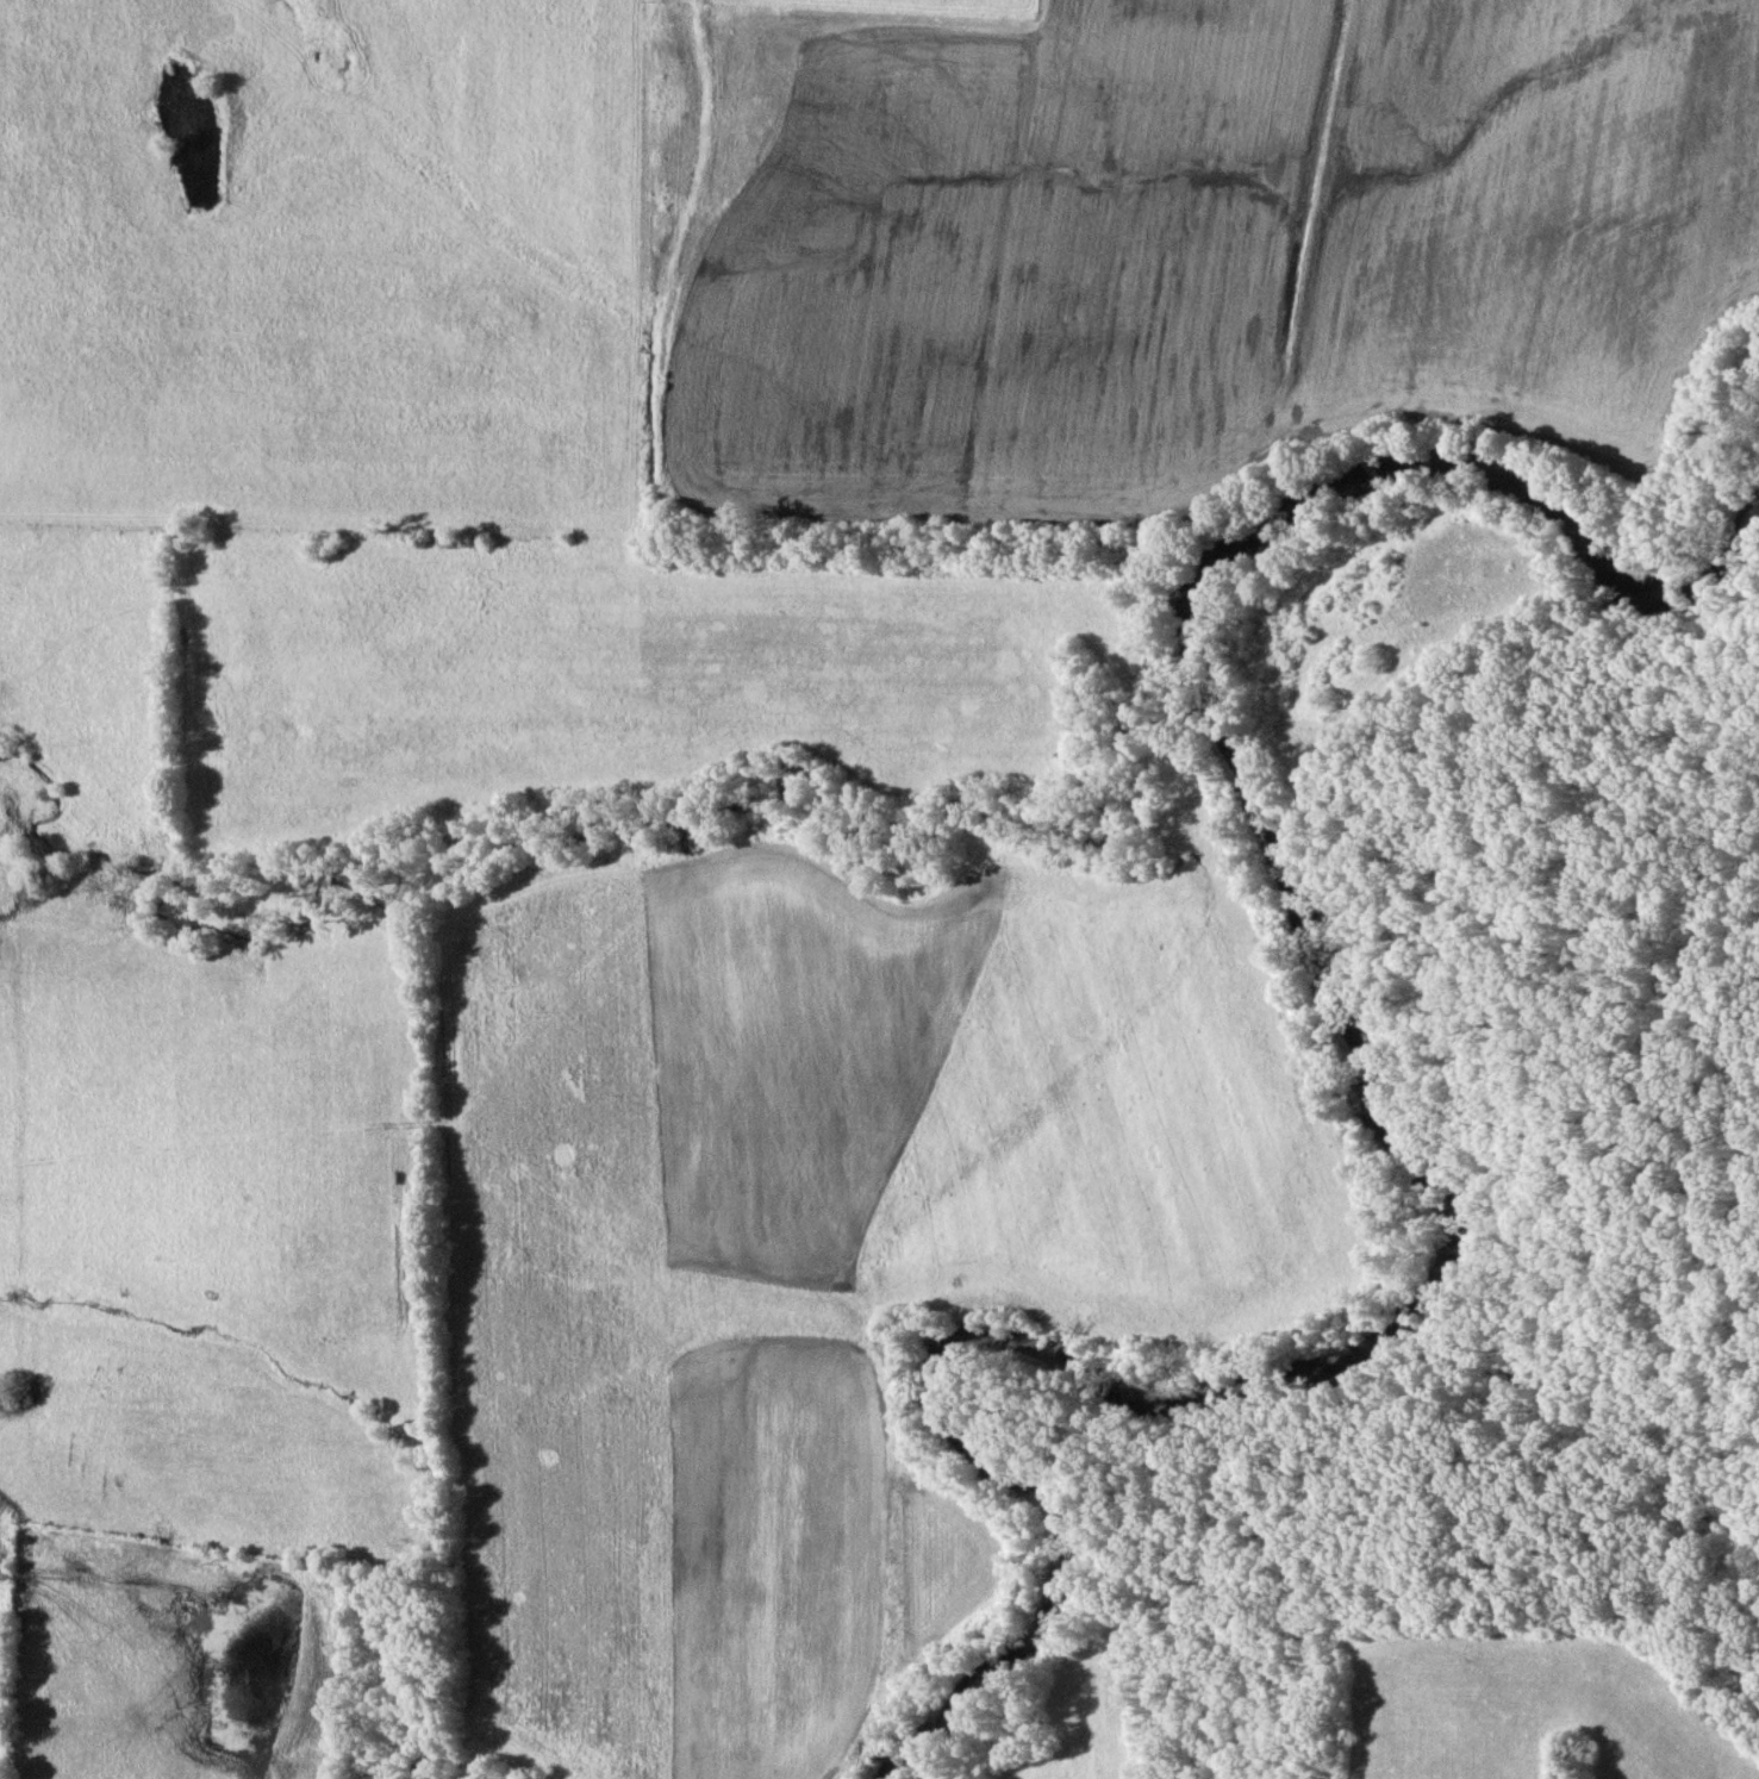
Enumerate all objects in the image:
river: (1429, 1154)

